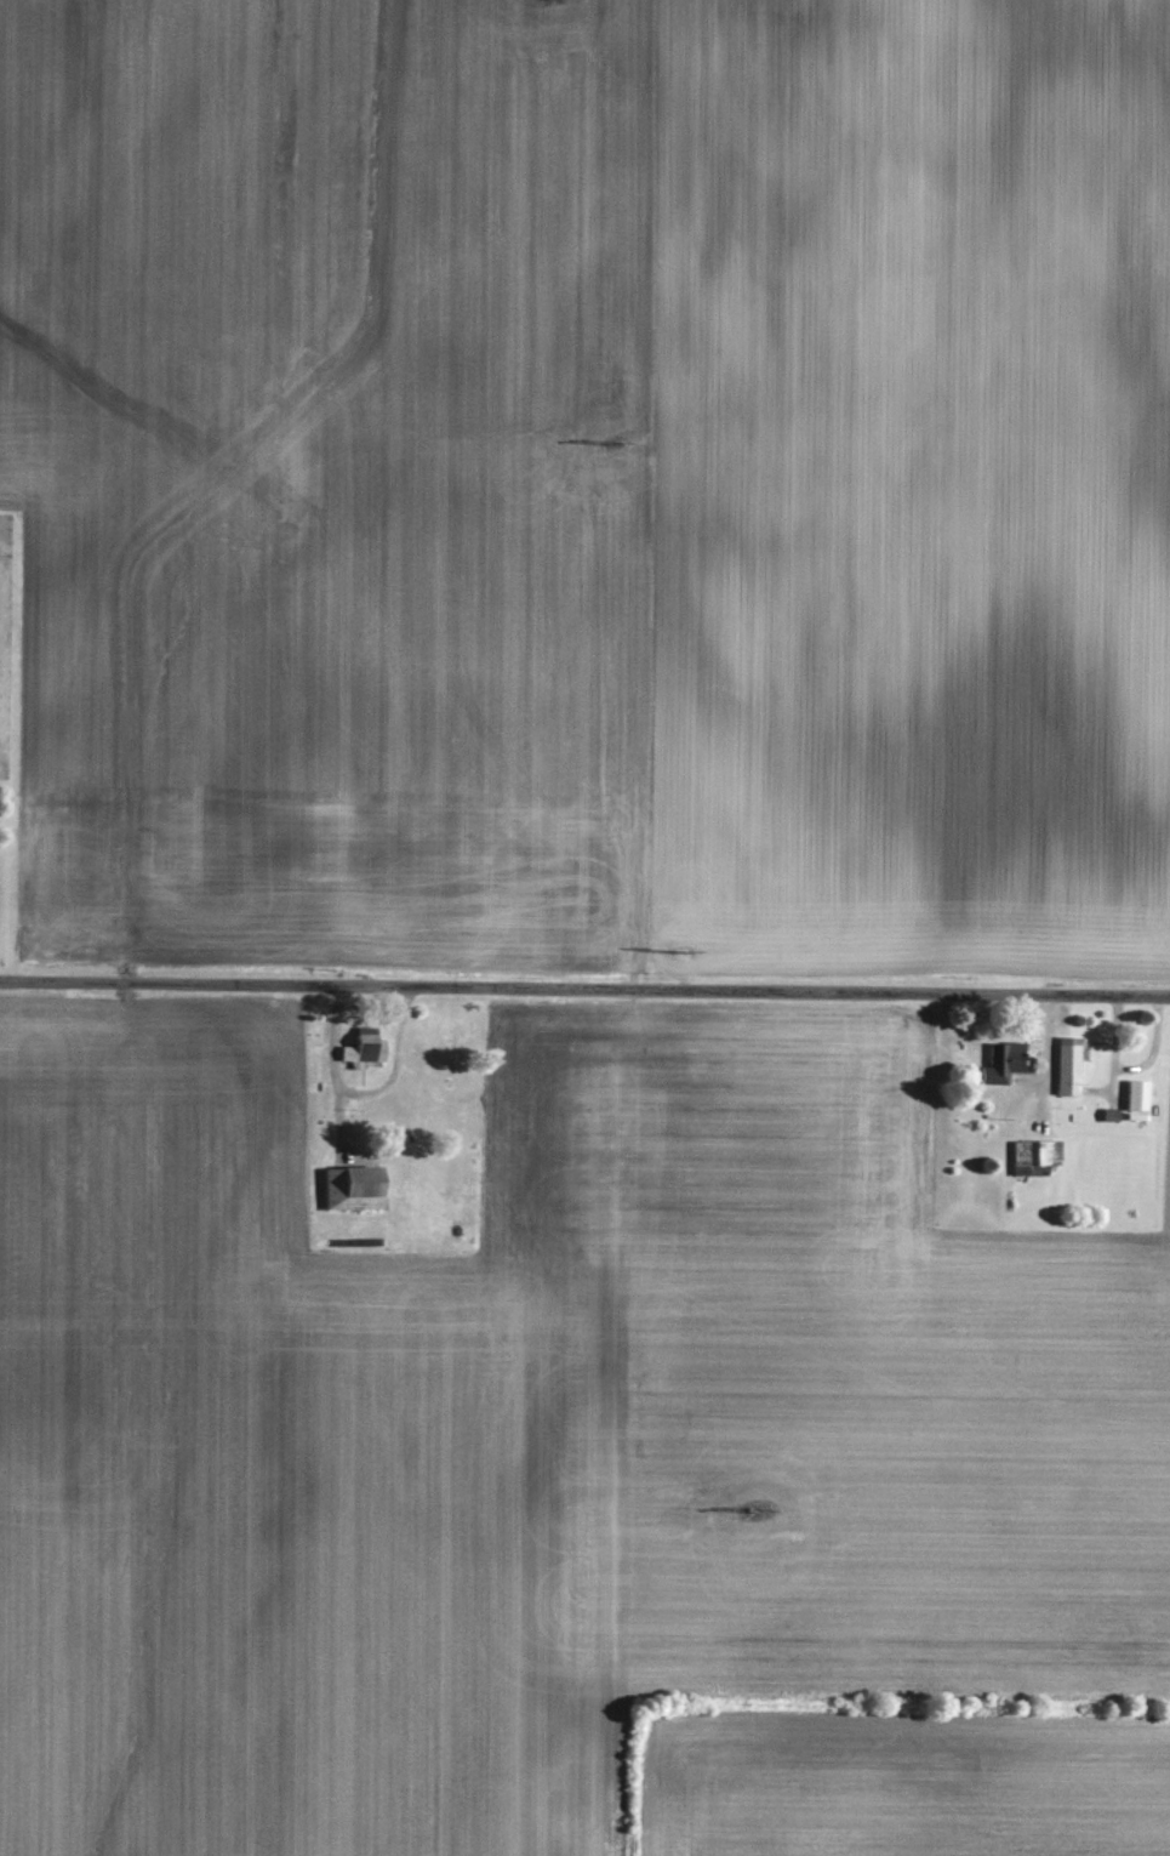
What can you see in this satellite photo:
power tower: (607, 442)
power tower: (679, 949)
road: (584, 987)
road: (1050, 1042)
building: (360, 1046)
building: (999, 1060)
road: (393, 1063)
building: (1065, 1063)
road: (332, 1068)
building: (1134, 1092)
building: (1032, 1151)
building: (349, 1185)
power tower: (750, 1510)

